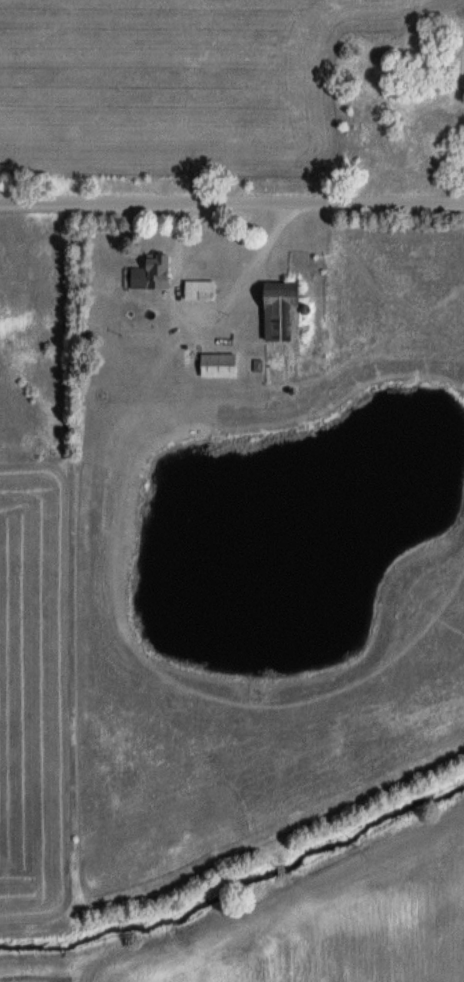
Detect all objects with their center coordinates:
road: (231, 204)
building: (155, 275)
building: (202, 291)
building: (287, 311)
building: (221, 366)

